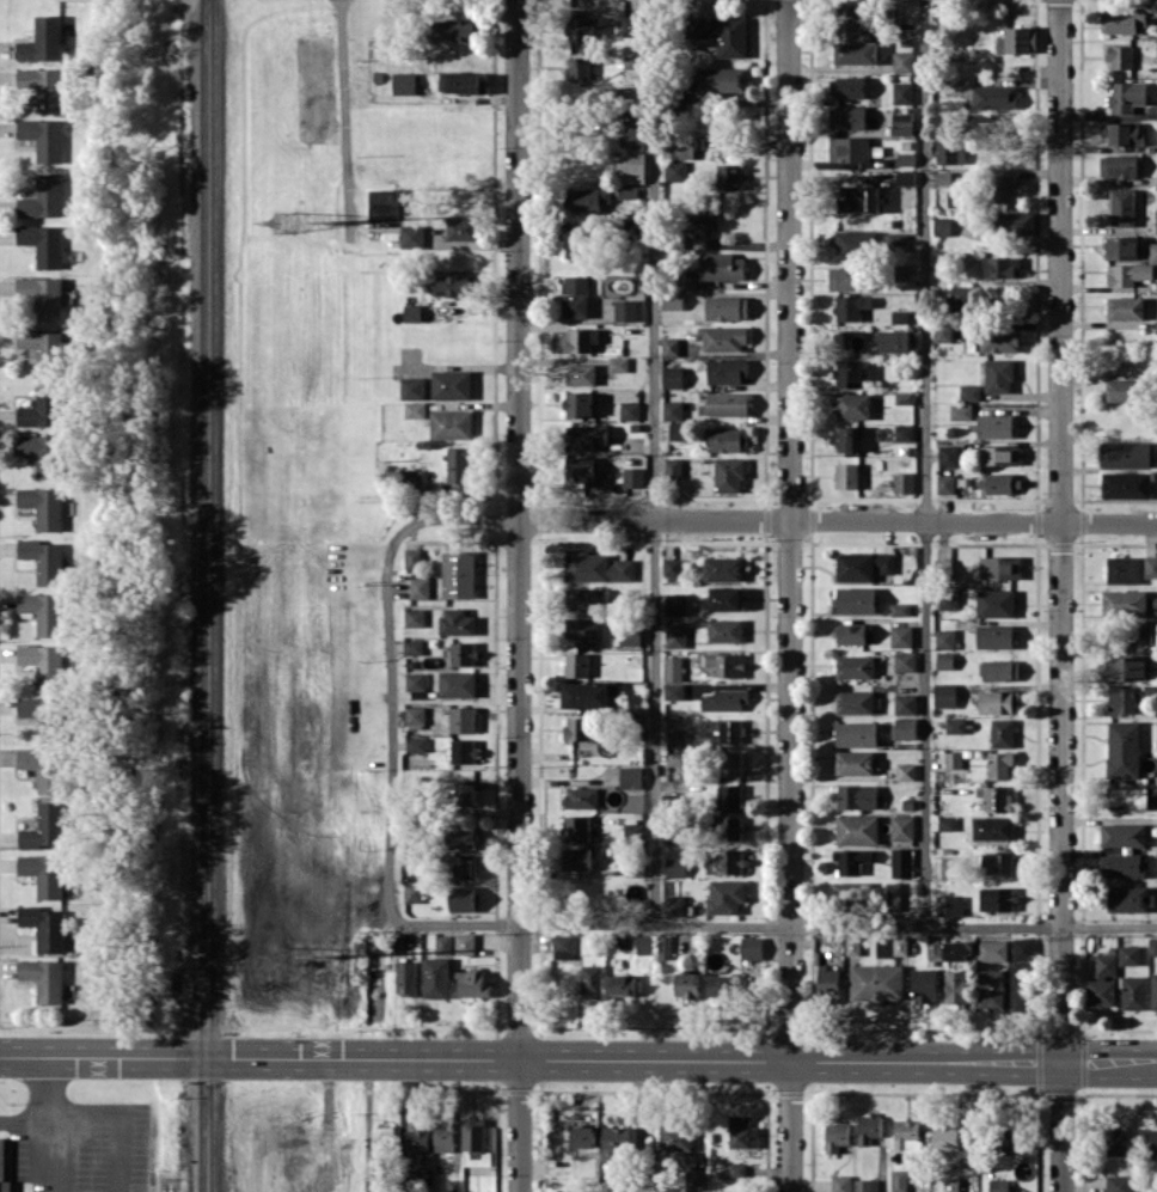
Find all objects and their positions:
building: (850, 19)
building: (1122, 20)
building: (631, 25)
building: (582, 27)
building: (454, 30)
building: (721, 32)
building: (1017, 39)
building: (42, 41)
building: (1156, 44)
building: (856, 51)
building: (1120, 55)
building: (633, 61)
building: (902, 61)
building: (580, 66)
building: (722, 79)
building: (463, 81)
building: (404, 82)
building: (43, 86)
building: (846, 86)
building: (902, 92)
building: (1126, 96)
building: (992, 97)
building: (633, 99)
building: (847, 117)
road: (344, 121)
building: (901, 123)
building: (635, 133)
building: (1122, 134)
building: (43, 137)
building: (679, 147)
building: (850, 148)
building: (947, 149)
building: (1118, 165)
building: (631, 167)
building: (675, 170)
building: (728, 176)
building: (905, 177)
building: (1005, 188)
building: (628, 191)
building: (43, 197)
building: (858, 197)
building: (587, 198)
building: (384, 204)
building: (1121, 207)
building: (704, 216)
power tower: (288, 219)
power tower: (330, 219)
building: (1156, 220)
building: (1014, 222)
building: (941, 226)
building: (461, 227)
building: (633, 227)
building: (411, 236)
building: (574, 242)
building: (43, 243)
building: (849, 244)
building: (1121, 246)
building: (1152, 251)
building: (721, 265)
building: (1000, 267)
building: (901, 271)
building: (1128, 274)
building: (686, 279)
building: (846, 279)
building: (451, 285)
building: (43, 295)
building: (575, 297)
building: (962, 297)
building: (673, 300)
building: (851, 306)
building: (727, 307)
building: (1125, 307)
building: (625, 310)
building: (411, 312)
building: (899, 316)
building: (1156, 325)
building: (943, 331)
building: (723, 338)
building: (999, 338)
building: (580, 340)
building: (889, 341)
building: (669, 346)
building: (48, 349)
building: (618, 363)
building: (728, 371)
building: (849, 373)
building: (581, 374)
building: (998, 374)
building: (673, 377)
building: (451, 384)
building: (411, 387)
building: (1122, 390)
building: (969, 392)
building: (904, 397)
building: (577, 403)
building: (724, 403)
building: (852, 405)
building: (42, 406)
building: (415, 409)
building: (629, 410)
building: (960, 411)
building: (451, 423)
building: (994, 426)
building: (678, 430)
building: (904, 432)
building: (586, 436)
building: (845, 438)
building: (728, 439)
building: (43, 453)
building: (1126, 453)
building: (1000, 454)
building: (948, 456)
road: (653, 460)
road: (924, 461)
building: (458, 469)
building: (673, 469)
building: (578, 470)
building: (728, 475)
building: (846, 476)
building: (633, 477)
building: (412, 478)
building: (902, 482)
building: (945, 483)
building: (1000, 483)
building: (1126, 484)
building: (43, 506)
road: (837, 520)
road: (790, 530)
road: (1060, 531)
building: (411, 557)
building: (43, 560)
building: (863, 564)
building: (1150, 566)
building: (596, 567)
building: (672, 567)
building: (999, 567)
building: (723, 568)
building: (1124, 569)
building: (458, 573)
building: (418, 587)
railway: (202, 595)
railway: (213, 595)
road: (518, 595)
building: (584, 597)
building: (726, 598)
building: (855, 599)
building: (948, 600)
building: (1124, 601)
building: (994, 603)
building: (677, 604)
building: (900, 609)
building: (43, 611)
building: (414, 617)
building: (457, 621)
building: (582, 630)
building: (724, 630)
building: (1149, 631)
building: (851, 632)
building: (675, 634)
building: (630, 636)
building: (901, 636)
building: (994, 636)
building: (944, 638)
building: (412, 646)
building: (463, 653)
building: (944, 659)
building: (905, 661)
building: (43, 664)
building: (576, 664)
building: (726, 664)
building: (855, 666)
building: (672, 668)
building: (1125, 668)
building: (999, 670)
building: (415, 680)
building: (457, 683)
building: (673, 690)
building: (586, 695)
building: (944, 695)
building: (723, 699)
building: (1121, 699)
building: (855, 702)
building: (999, 702)
building: (905, 703)
building: (415, 714)
building: (43, 715)
building: (461, 719)
building: (712, 723)
building: (955, 725)
building: (577, 727)
building: (905, 727)
building: (731, 731)
building: (857, 733)
building: (1002, 733)
building: (675, 738)
building: (1122, 748)
building: (416, 750)
building: (464, 751)
building: (677, 758)
building: (953, 759)
building: (856, 762)
building: (729, 763)
building: (999, 764)
building: (44, 768)
building: (905, 771)
building: (631, 776)
building: (465, 791)
building: (729, 795)
building: (856, 796)
building: (1126, 796)
building: (581, 797)
building: (998, 799)
building: (947, 823)
building: (44, 826)
building: (576, 827)
building: (730, 827)
building: (901, 827)
building: (992, 827)
building: (857, 829)
building: (632, 830)
building: (1122, 833)
building: (461, 836)
building: (675, 837)
building: (577, 857)
building: (851, 860)
building: (724, 861)
building: (901, 862)
building: (997, 862)
building: (1124, 864)
building: (463, 866)
building: (675, 866)
building: (948, 866)
building: (44, 873)
building: (865, 891)
building: (412, 893)
building: (726, 894)
building: (463, 898)
building: (997, 898)
building: (1130, 898)
building: (674, 905)
building: (949, 905)
road: (520, 923)
building: (44, 927)
building: (465, 943)
building: (644, 943)
building: (442, 945)
building: (563, 946)
building: (663, 946)
building: (892, 946)
building: (1155, 946)
building: (751, 947)
building: (932, 947)
building: (1022, 948)
building: (957, 949)
building: (991, 950)
power tower: (332, 953)
power tower: (288, 954)
building: (1128, 954)
building: (1106, 964)
building: (406, 977)
building: (436, 977)
building: (44, 978)
building: (592, 980)
building: (828, 980)
building: (472, 982)
building: (875, 982)
building: (622, 984)
building: (686, 984)
building: (925, 984)
building: (720, 985)
building: (955, 986)
building: (991, 988)
building: (1021, 990)
building: (1153, 990)
building: (1133, 991)
building: (1100, 992)
road: (577, 1058)
road: (367, 1107)
road: (49, 1113)
road: (85, 1119)
road: (790, 1126)
road: (1061, 1126)
building: (868, 1127)
building: (742, 1131)
building: (906, 1135)
building: (382, 1136)
building: (583, 1136)
building: (835, 1136)
building: (416, 1137)
building: (443, 1137)
building: (677, 1137)
building: (945, 1138)
building: (1005, 1142)
building: (1118, 1142)
building: (614, 1143)
building: (1151, 1143)
building: (736, 1169)
building: (898, 1180)
building: (696, 1181)
building: (840, 1182)
building: (1118, 1182)
building: (950, 1184)
building: (452, 1185)
building: (865, 1185)
building: (998, 1185)
building: (565, 1190)

